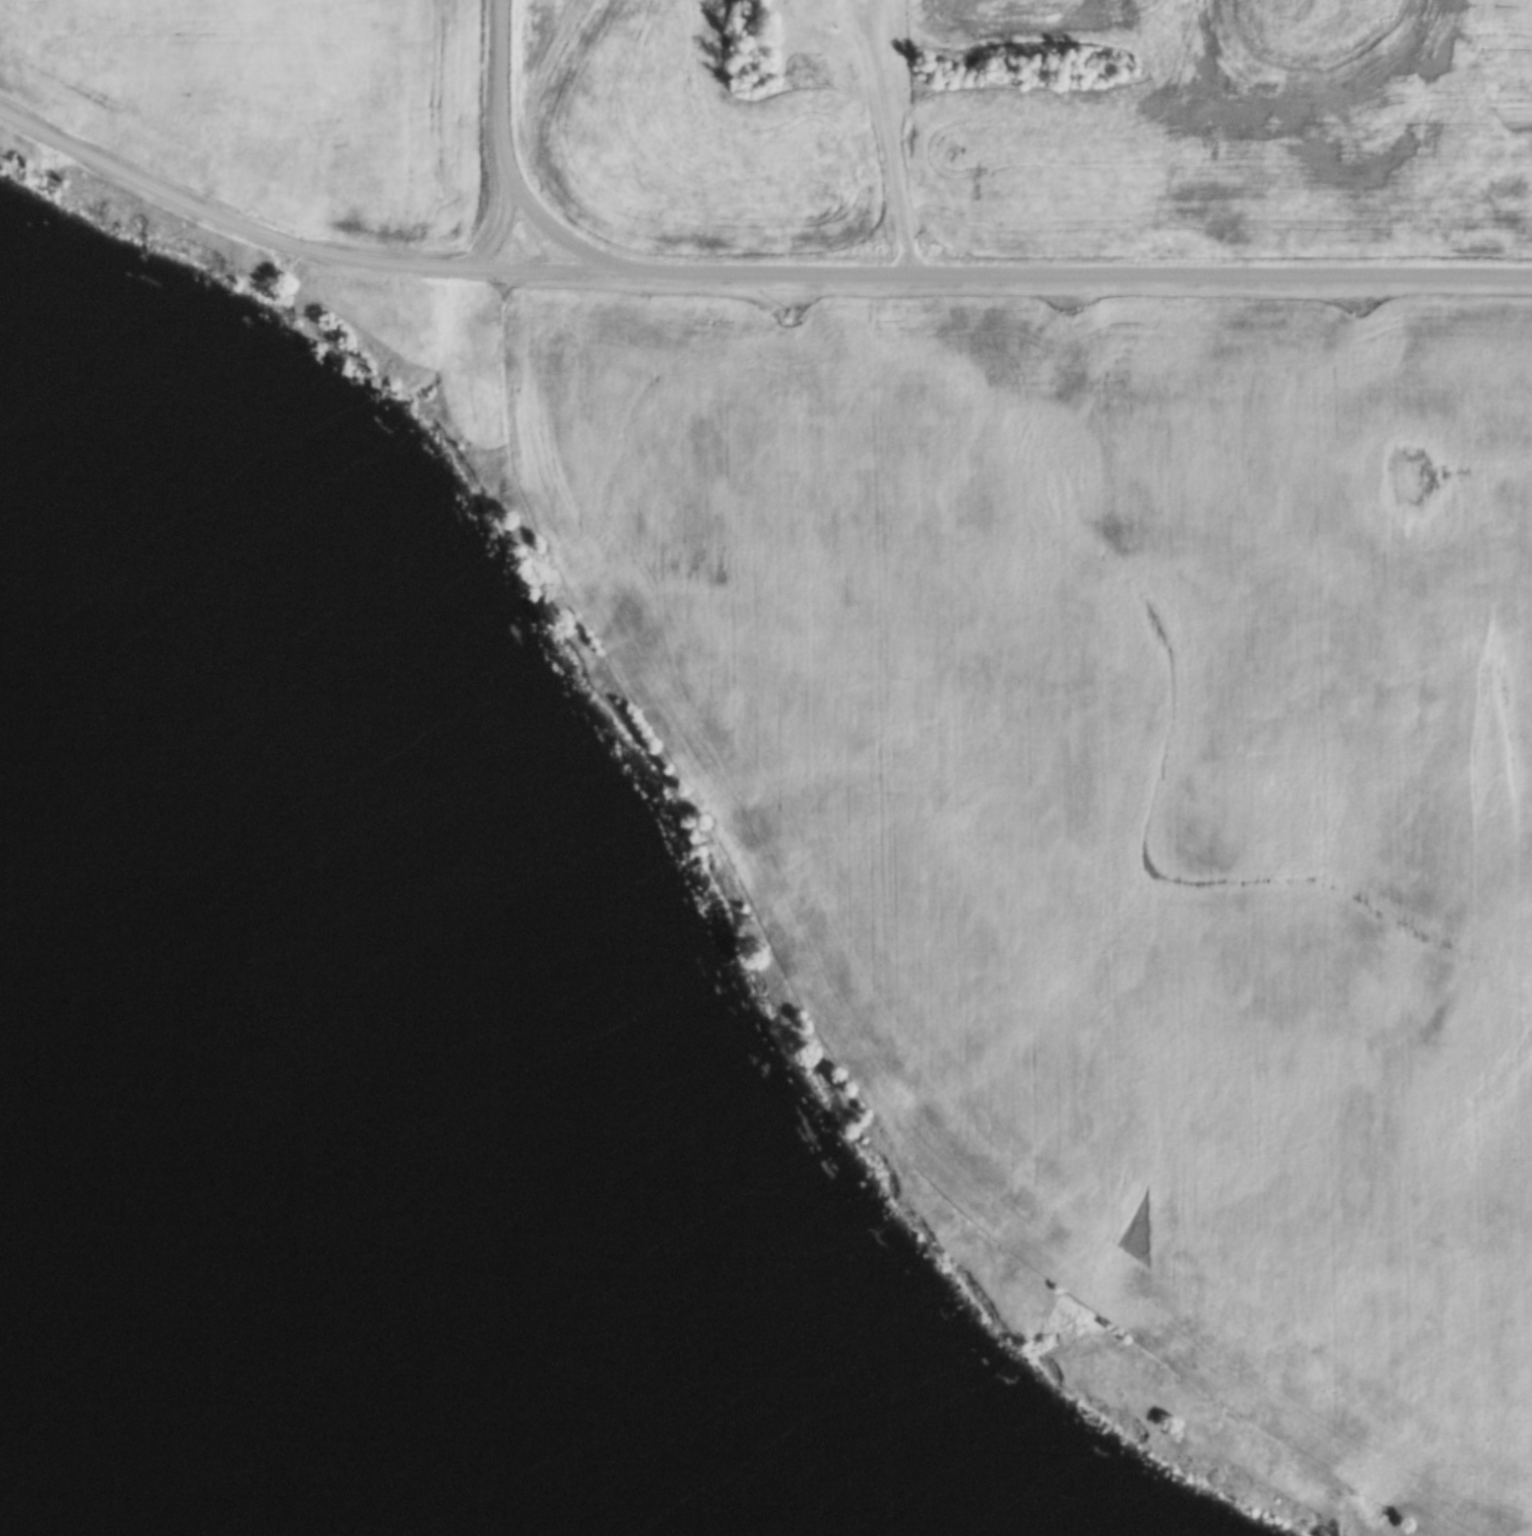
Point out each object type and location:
road: (501, 95)
road: (889, 138)
road: (501, 238)
road: (564, 247)
road: (303, 251)
road: (1084, 276)

